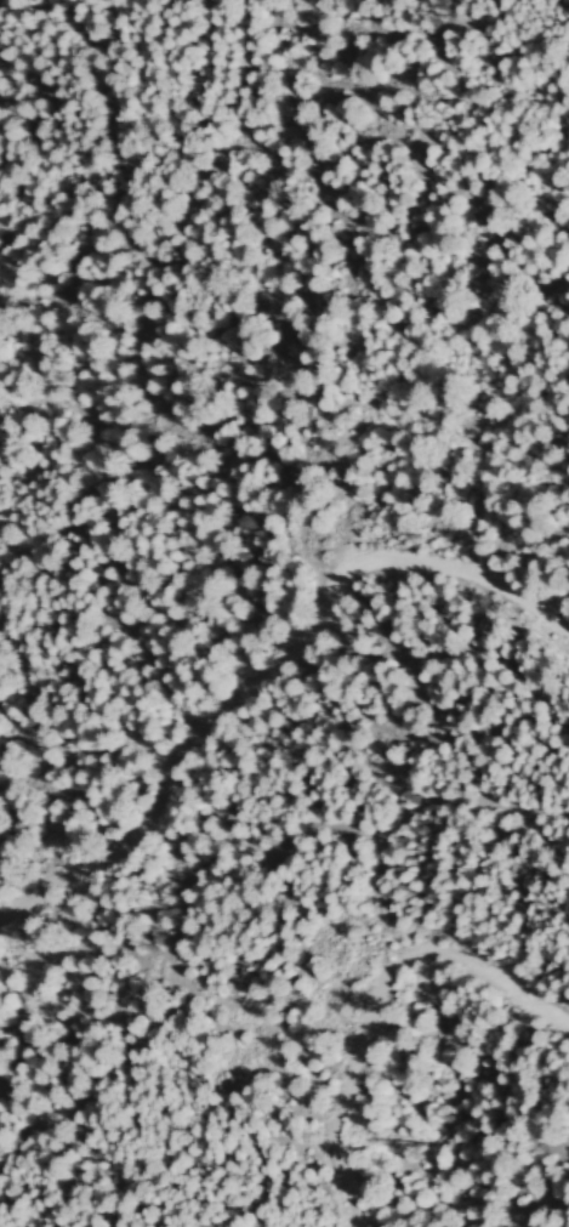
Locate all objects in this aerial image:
road: (220, 941)

